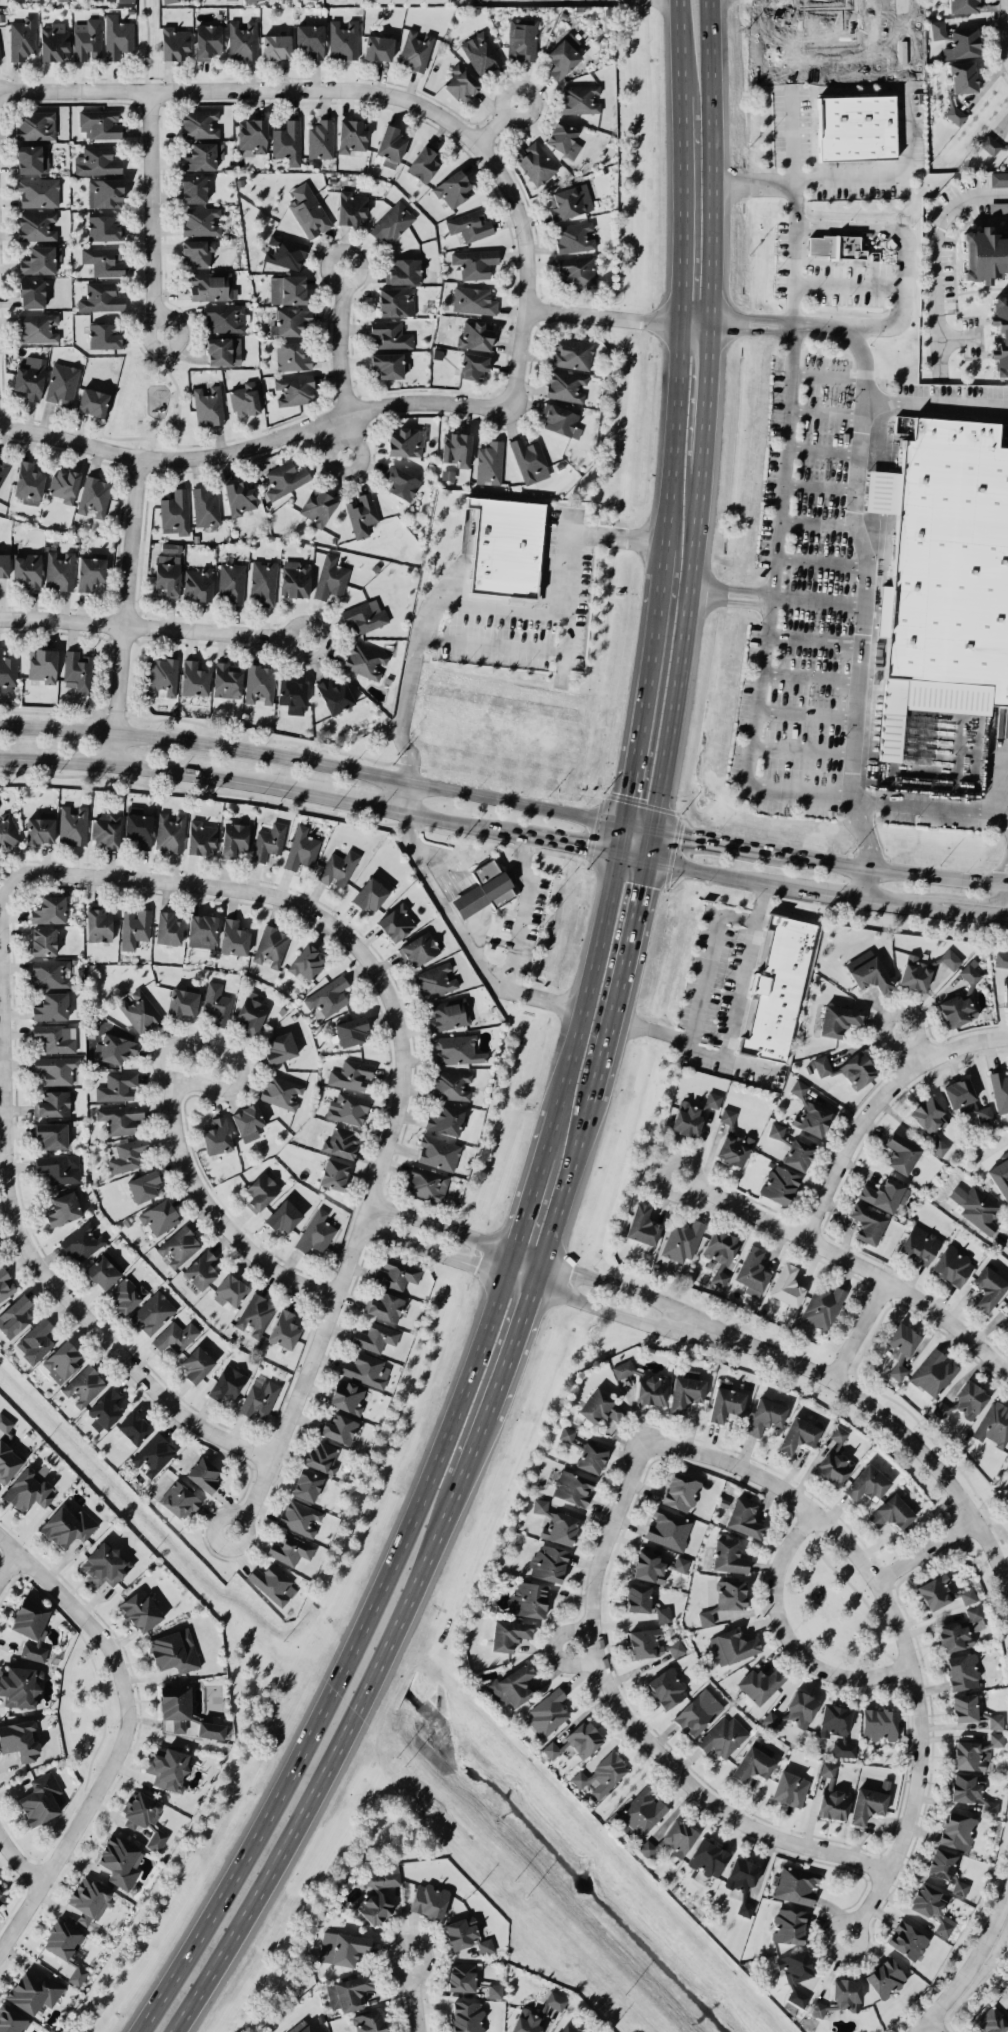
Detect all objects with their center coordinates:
building: (63, 0)
building: (250, 0)
building: (317, 0)
building: (170, 1)
building: (125, 2)
building: (962, 6)
building: (937, 29)
building: (118, 36)
building: (22, 38)
building: (87, 39)
building: (521, 39)
building: (208, 40)
building: (243, 40)
building: (311, 40)
building: (343, 40)
building: (55, 42)
building: (175, 43)
building: (962, 43)
road: (147, 45)
building: (276, 46)
road: (681, 46)
building: (380, 48)
building: (416, 49)
building: (481, 53)
building: (563, 56)
road: (857, 57)
building: (461, 83)
building: (960, 85)
road: (335, 89)
building: (579, 98)
road: (498, 121)
building: (200, 123)
building: (100, 124)
building: (35, 125)
building: (856, 128)
building: (252, 134)
building: (351, 135)
building: (563, 138)
building: (321, 139)
building: (288, 142)
building: (391, 143)
building: (990, 145)
building: (202, 156)
building: (31, 159)
road: (712, 160)
building: (97, 161)
building: (535, 162)
building: (424, 163)
road: (896, 177)
building: (999, 178)
building: (194, 188)
building: (454, 188)
building: (38, 192)
building: (105, 192)
building: (569, 201)
road: (682, 206)
building: (998, 207)
building: (352, 208)
building: (308, 211)
road: (152, 212)
building: (200, 221)
building: (392, 222)
building: (37, 225)
building: (471, 225)
building: (104, 228)
road: (872, 228)
building: (573, 237)
building: (834, 246)
building: (198, 252)
building: (285, 252)
building: (984, 254)
building: (40, 260)
building: (104, 260)
building: (475, 262)
road: (938, 262)
building: (576, 270)
building: (402, 271)
road: (847, 285)
building: (212, 286)
building: (288, 289)
building: (32, 293)
building: (101, 297)
building: (473, 300)
building: (396, 301)
road: (602, 315)
building: (224, 317)
road: (697, 320)
building: (291, 321)
road: (726, 321)
road: (889, 322)
road: (790, 323)
building: (38, 327)
building: (389, 335)
building: (476, 335)
building: (1000, 335)
building: (105, 336)
road: (341, 340)
building: (224, 350)
building: (571, 353)
building: (292, 356)
building: (389, 365)
building: (473, 366)
building: (30, 377)
road: (827, 378)
building: (62, 384)
building: (565, 385)
building: (296, 389)
road: (707, 397)
building: (246, 399)
building: (93, 402)
road: (936, 402)
building: (209, 405)
road: (373, 407)
road: (826, 413)
building: (560, 420)
road: (675, 431)
road: (339, 437)
road: (69, 438)
building: (405, 441)
road: (786, 445)
building: (458, 448)
road: (822, 450)
building: (529, 460)
building: (489, 463)
building: (3, 467)
building: (448, 474)
building: (285, 478)
building: (29, 482)
building: (402, 482)
building: (64, 484)
road: (820, 485)
building: (94, 496)
building: (240, 496)
building: (206, 507)
building: (318, 507)
building: (175, 512)
building: (361, 514)
road: (817, 524)
road: (620, 537)
building: (505, 547)
road: (464, 555)
road: (821, 561)
road: (867, 564)
building: (4, 565)
building: (28, 569)
building: (60, 570)
building: (90, 572)
building: (944, 573)
building: (168, 574)
building: (330, 577)
building: (295, 578)
building: (231, 582)
building: (263, 582)
building: (198, 584)
road: (732, 589)
road: (567, 598)
road: (731, 599)
road: (818, 600)
road: (125, 610)
building: (364, 617)
road: (422, 623)
road: (153, 627)
road: (815, 639)
road: (491, 646)
road: (682, 650)
building: (365, 661)
building: (42, 664)
building: (77, 671)
building: (7, 673)
road: (812, 675)
building: (162, 676)
building: (194, 678)
building: (228, 680)
road: (647, 682)
building: (259, 683)
building: (335, 695)
building: (293, 696)
road: (808, 712)
road: (804, 749)
road: (314, 762)
road: (161, 771)
road: (410, 796)
road: (366, 805)
road: (930, 806)
traffic signals: (625, 822)
road: (468, 824)
building: (73, 825)
road: (640, 825)
building: (139, 828)
traffic signals: (655, 828)
building: (107, 829)
building: (40, 830)
building: (7, 831)
building: (170, 832)
road: (694, 835)
building: (201, 838)
building: (234, 838)
building: (269, 841)
road: (651, 844)
road: (587, 847)
building: (302, 848)
traffic signals: (619, 854)
traffic signals: (648, 860)
road: (870, 864)
building: (338, 868)
road: (863, 881)
road: (3, 887)
road: (216, 888)
building: (484, 889)
road: (827, 892)
building: (370, 894)
road: (954, 897)
building: (50, 910)
road: (523, 912)
road: (738, 916)
building: (396, 922)
building: (99, 925)
building: (135, 927)
building: (168, 928)
building: (202, 930)
building: (234, 938)
building: (44, 940)
road: (466, 941)
building: (271, 947)
building: (419, 948)
building: (1001, 959)
building: (307, 962)
road: (593, 968)
road: (745, 969)
building: (868, 971)
building: (50, 973)
building: (915, 973)
building: (970, 973)
road: (622, 976)
building: (436, 980)
road: (704, 980)
building: (775, 987)
building: (1005, 990)
building: (328, 996)
building: (182, 1001)
building: (217, 1003)
building: (52, 1006)
building: (956, 1010)
building: (140, 1011)
building: (250, 1014)
building: (447, 1015)
building: (838, 1019)
road: (652, 1029)
building: (351, 1030)
building: (56, 1037)
road: (912, 1045)
building: (280, 1047)
building: (114, 1049)
building: (455, 1049)
road: (218, 1053)
road: (733, 1060)
building: (56, 1069)
building: (847, 1069)
building: (351, 1074)
building: (451, 1084)
building: (118, 1086)
building: (1000, 1088)
building: (281, 1091)
building: (965, 1098)
building: (712, 1099)
building: (53, 1104)
road: (877, 1105)
building: (347, 1108)
building: (809, 1112)
building: (929, 1115)
building: (120, 1118)
building: (686, 1119)
building: (447, 1120)
building: (248, 1121)
building: (776, 1130)
road: (551, 1133)
building: (52, 1135)
building: (217, 1136)
building: (732, 1141)
building: (341, 1142)
building: (939, 1146)
building: (439, 1152)
building: (901, 1153)
building: (798, 1154)
building: (128, 1155)
building: (60, 1167)
building: (335, 1174)
road: (569, 1175)
building: (1000, 1176)
building: (427, 1183)
building: (779, 1184)
building: (143, 1185)
building: (261, 1191)
building: (884, 1194)
building: (976, 1207)
building: (63, 1208)
road: (210, 1213)
road: (525, 1214)
building: (159, 1216)
building: (283, 1216)
building: (867, 1223)
road: (440, 1224)
building: (642, 1225)
building: (316, 1232)
building: (682, 1239)
building: (82, 1242)
building: (919, 1244)
building: (178, 1246)
road: (433, 1250)
building: (720, 1253)
road: (528, 1254)
road: (851, 1260)
building: (952, 1265)
building: (201, 1269)
road: (341, 1269)
building: (104, 1270)
road: (538, 1271)
building: (751, 1272)
building: (397, 1274)
road: (520, 1279)
building: (5, 1284)
building: (786, 1285)
building: (989, 1286)
road: (627, 1288)
building: (230, 1290)
building: (126, 1294)
road: (66, 1302)
road: (594, 1304)
building: (385, 1306)
building: (821, 1306)
building: (1005, 1306)
building: (153, 1313)
building: (255, 1315)
building: (15, 1316)
building: (1006, 1327)
building: (284, 1329)
road: (679, 1329)
road: (860, 1330)
building: (175, 1336)
building: (376, 1337)
building: (902, 1339)
building: (35, 1340)
road: (510, 1349)
building: (62, 1361)
building: (197, 1364)
building: (366, 1369)
building: (933, 1372)
building: (227, 1382)
building: (645, 1383)
building: (84, 1385)
building: (685, 1390)
building: (347, 1396)
building: (259, 1399)
building: (969, 1399)
building: (725, 1400)
building: (601, 1407)
building: (104, 1409)
building: (941, 1409)
building: (765, 1415)
road: (886, 1417)
building: (993, 1424)
building: (133, 1427)
building: (338, 1428)
building: (566, 1433)
building: (798, 1434)
road: (475, 1446)
building: (154, 1454)
building: (321, 1456)
building: (591, 1457)
building: (835, 1459)
building: (203, 1474)
building: (867, 1483)
building: (307, 1485)
building: (572, 1487)
building: (27, 1490)
building: (681, 1491)
building: (179, 1500)
building: (892, 1512)
building: (299, 1517)
building: (743, 1518)
building: (555, 1523)
building: (67, 1526)
building: (667, 1528)
building: (290, 1548)
road: (928, 1550)
building: (728, 1556)
building: (548, 1562)
building: (680, 1563)
road: (7, 1564)
building: (105, 1564)
building: (649, 1567)
building: (273, 1583)
building: (942, 1592)
road: (858, 1593)
building: (638, 1598)
building: (528, 1599)
building: (725, 1599)
building: (141, 1610)
building: (973, 1613)
building: (663, 1614)
building: (31, 1628)
road: (898, 1628)
building: (509, 1634)
building: (953, 1636)
road: (787, 1637)
building: (651, 1643)
building: (736, 1645)
road: (554, 1649)
building: (174, 1651)
road: (345, 1664)
building: (962, 1671)
building: (759, 1684)
building: (512, 1685)
building: (20, 1686)
building: (667, 1687)
building: (176, 1705)
building: (965, 1707)
building: (794, 1710)
building: (548, 1711)
building: (698, 1712)
building: (995, 1721)
building: (879, 1723)
road: (633, 1725)
building: (837, 1728)
building: (211, 1730)
road: (123, 1732)
building: (723, 1736)
building: (996, 1738)
building: (19, 1739)
building: (576, 1741)
road: (329, 1760)
building: (754, 1762)
building: (168, 1769)
building: (601, 1774)
building: (789, 1788)
building: (971, 1791)
building: (832, 1796)
building: (40, 1797)
building: (866, 1804)
building: (641, 1813)
building: (145, 1817)
building: (957, 1830)
building: (672, 1839)
building: (708, 1857)
road: (15, 1861)
building: (120, 1861)
building: (941, 1863)
building: (742, 1881)
building: (796, 1884)
building: (959, 1887)
building: (377, 1891)
building: (2, 1898)
building: (89, 1900)
building: (429, 1900)
building: (932, 1907)
building: (788, 1926)
building: (461, 1932)
building: (907, 1940)
building: (486, 1946)
building: (66, 1947)
building: (343, 1947)
road: (971, 1971)
building: (795, 1972)
building: (462, 1976)
building: (885, 1977)
building: (495, 1990)
building: (34, 1992)
building: (348, 1992)
road: (413, 1995)
building: (840, 1997)
building: (555, 2000)
building: (468, 2016)
building: (11, 2019)
building: (993, 2020)
building: (368, 2021)
building: (525, 2022)
building: (300, 2027)
road: (935, 2027)
building: (566, 2028)

